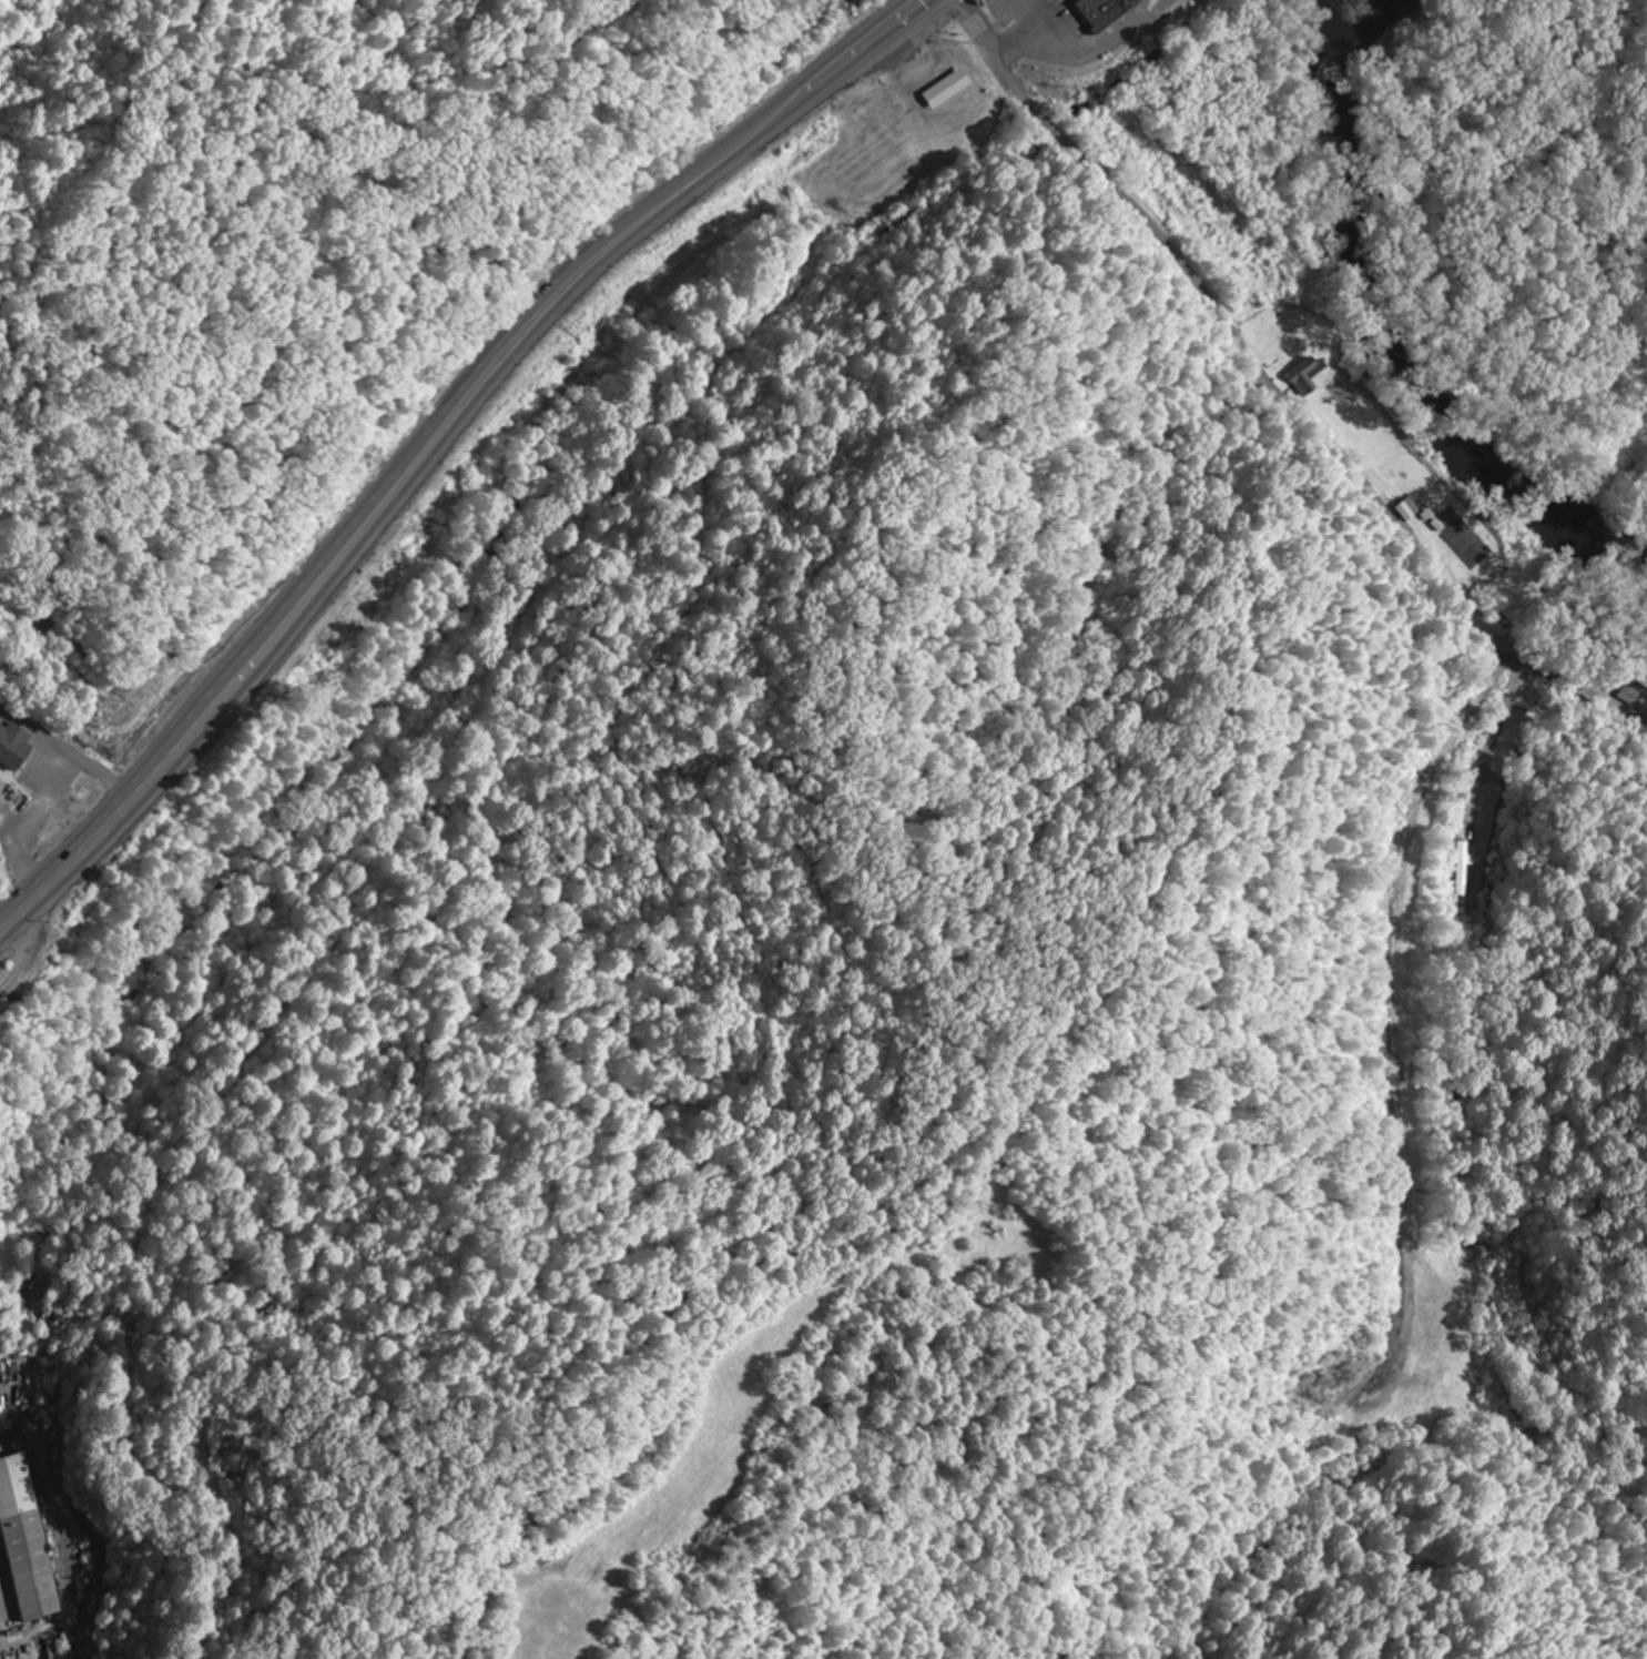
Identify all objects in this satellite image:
building: (1107, 11)
building: (950, 89)
road: (1231, 327)
river: (1393, 337)
building: (1309, 376)
road: (433, 433)
building: (1403, 509)
road: (1578, 686)
building: (1627, 695)
building: (16, 747)
building: (1467, 870)
building: (30, 1539)

